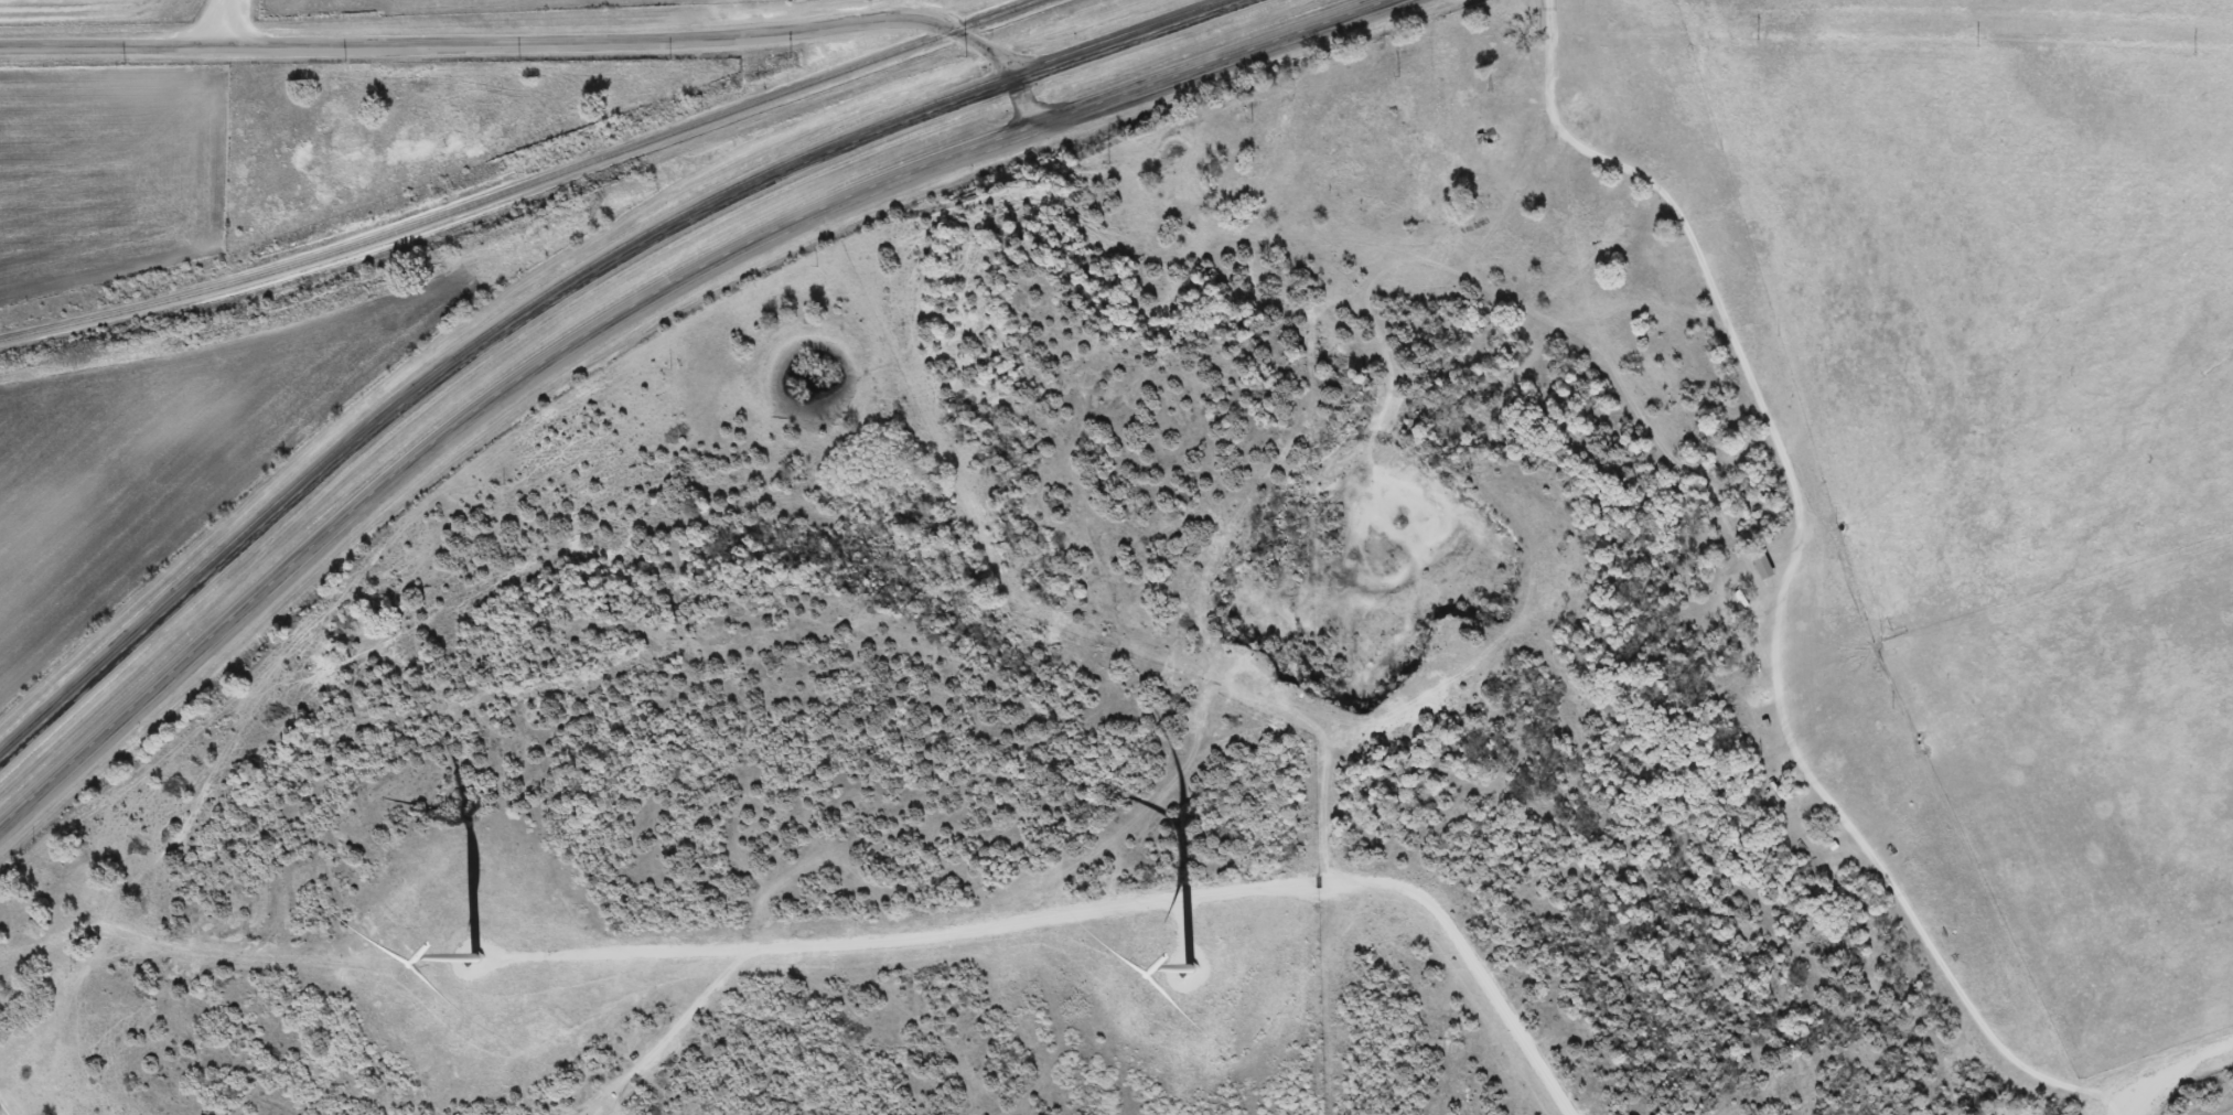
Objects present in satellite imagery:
road: (544, 30)
railway: (524, 184)
road: (565, 291)
road: (632, 312)
road: (1784, 583)
road: (1115, 903)
wind turbine: (476, 956)
wind turbine: (1189, 968)
road: (662, 1031)
road: (2171, 1064)
road: (8, 1103)

